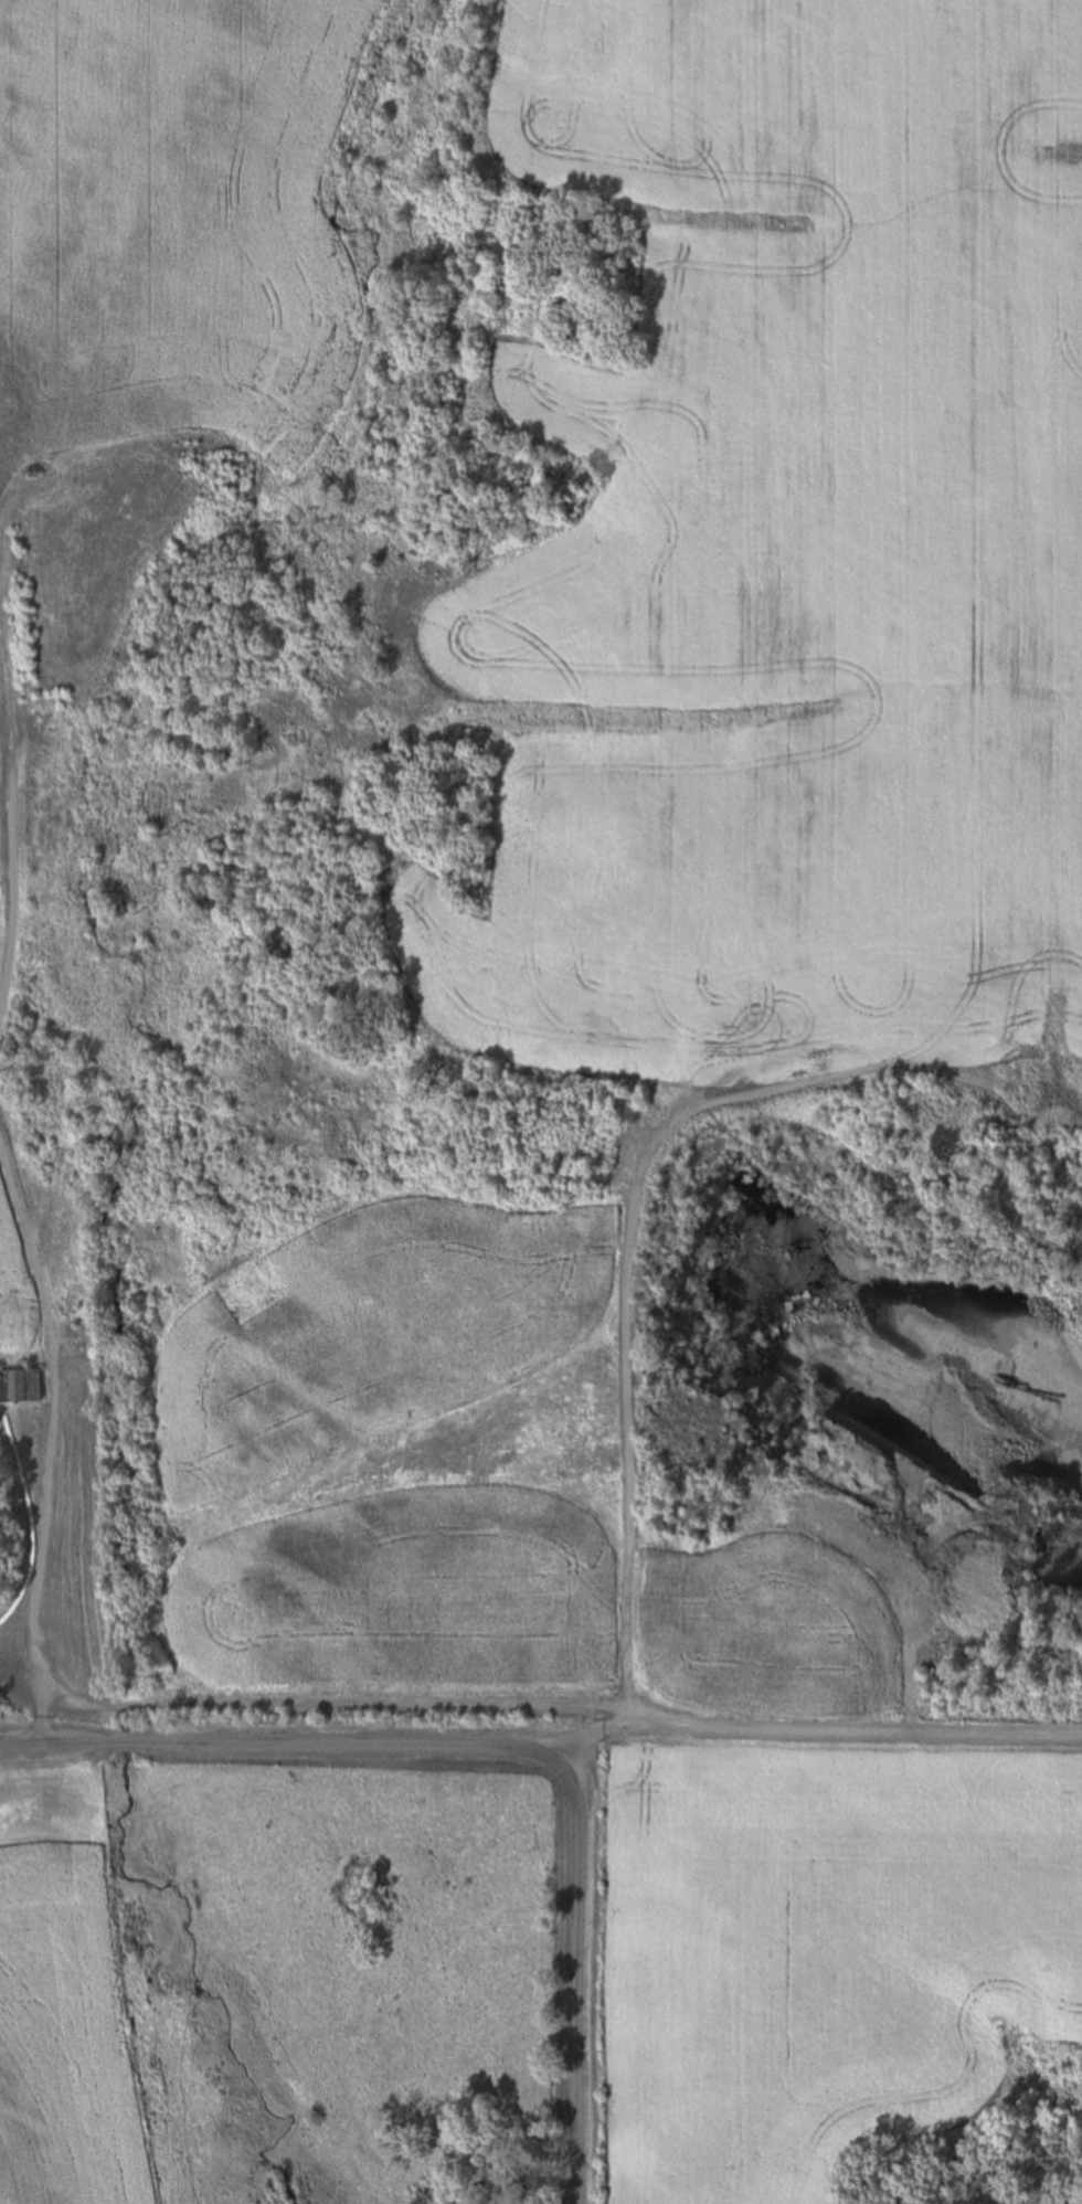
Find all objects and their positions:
road: (17, 914)
building: (25, 1386)
building: (2, 1387)
road: (628, 1426)
road: (46, 1432)
road: (333, 1706)
road: (813, 1734)
road: (501, 1750)

